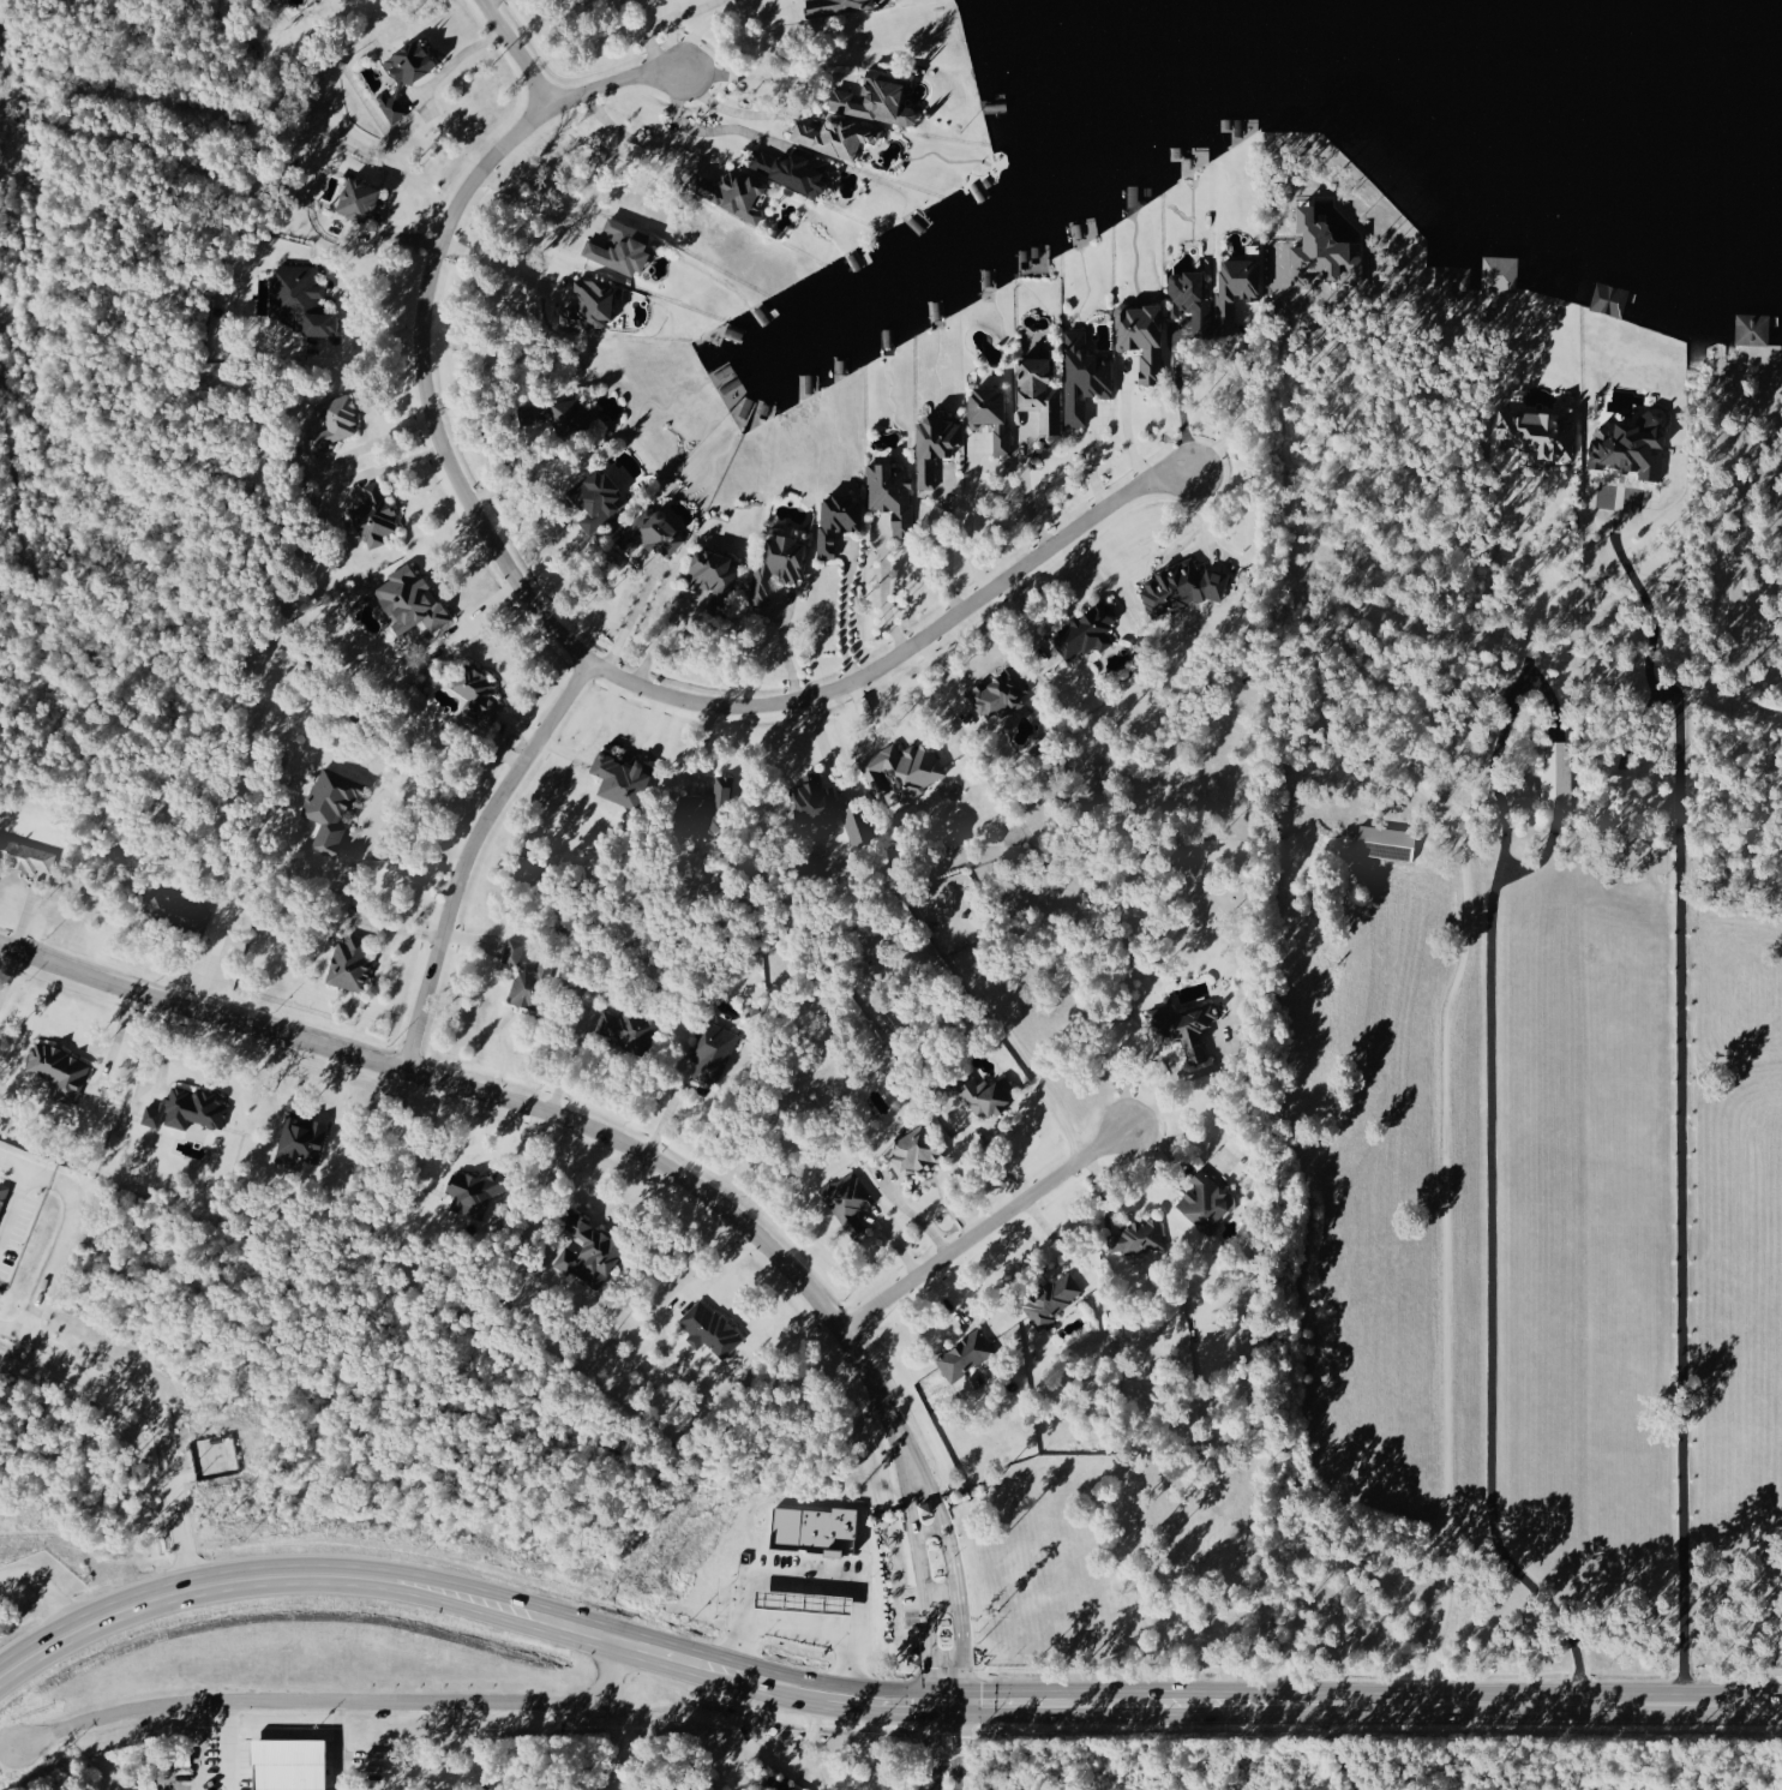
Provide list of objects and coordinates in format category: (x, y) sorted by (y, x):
building: (833, 6)
road: (725, 14)
road: (509, 53)
building: (403, 74)
building: (876, 96)
road: (709, 127)
building: (835, 134)
building: (791, 168)
building: (731, 192)
building: (356, 198)
road: (521, 198)
building: (619, 247)
building: (1320, 250)
building: (1499, 273)
building: (1452, 280)
building: (1235, 287)
building: (1187, 295)
building: (299, 299)
building: (588, 304)
building: (1752, 328)
building: (1141, 337)
building: (1084, 376)
building: (1039, 391)
road: (1244, 403)
building: (556, 413)
building: (332, 423)
road: (1123, 432)
building: (1535, 432)
building: (932, 445)
building: (1631, 447)
road: (1033, 481)
building: (890, 495)
building: (594, 499)
road: (974, 511)
building: (372, 515)
building: (835, 521)
building: (650, 533)
road: (942, 549)
building: (776, 564)
building: (712, 573)
building: (1180, 587)
road: (883, 592)
building: (408, 600)
road: (841, 613)
road: (629, 621)
road: (546, 624)
building: (1084, 631)
road: (779, 646)
road: (1525, 665)
building: (475, 692)
building: (998, 693)
building: (910, 767)
building: (1556, 773)
building: (619, 779)
building: (1624, 790)
building: (815, 806)
building: (329, 808)
building: (707, 809)
building: (857, 822)
building: (1386, 843)
road: (466, 851)
building: (24, 856)
road: (403, 861)
building: (175, 911)
building: (511, 952)
building: (349, 963)
building: (528, 987)
road: (1496, 993)
building: (626, 1026)
building: (1183, 1028)
building: (710, 1050)
road: (569, 1062)
building: (56, 1070)
road: (1681, 1085)
building: (979, 1095)
road: (527, 1106)
building: (186, 1109)
building: (300, 1139)
building: (913, 1153)
road: (17, 1186)
building: (475, 1191)
building: (2, 1193)
building: (847, 1201)
building: (1205, 1202)
road: (979, 1228)
building: (1135, 1238)
road: (1056, 1241)
road: (56, 1245)
building: (588, 1251)
road: (1446, 1273)
building: (1052, 1298)
building: (708, 1330)
road: (38, 1346)
road: (22, 1355)
building: (964, 1355)
road: (162, 1448)
road: (920, 1485)
road: (907, 1489)
building: (923, 1507)
road: (926, 1528)
building: (812, 1529)
road: (788, 1574)
road: (952, 1584)
road: (422, 1586)
road: (44, 1588)
road: (922, 1588)
road: (938, 1597)
building: (802, 1602)
gas station: (802, 1602)
road: (802, 1630)
road: (857, 1670)
road: (942, 1684)
road: (1316, 1700)
road: (300, 1701)
road: (604, 1714)
road: (226, 1746)
road: (337, 1746)
road: (942, 1746)
road: (770, 1754)
building: (288, 1764)
building: (776, 1784)

